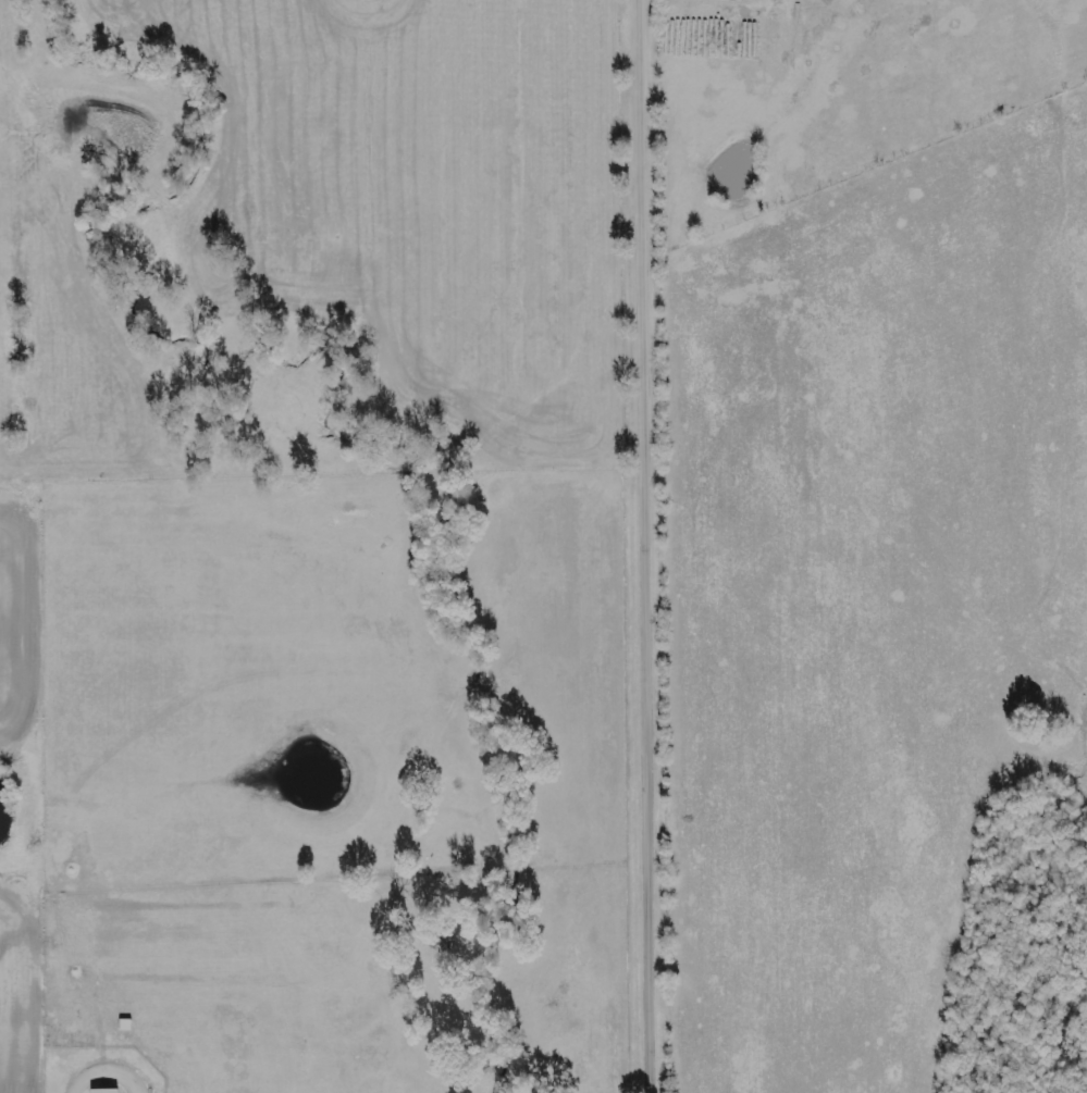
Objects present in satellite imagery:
road: (653, 546)
building: (104, 1091)

